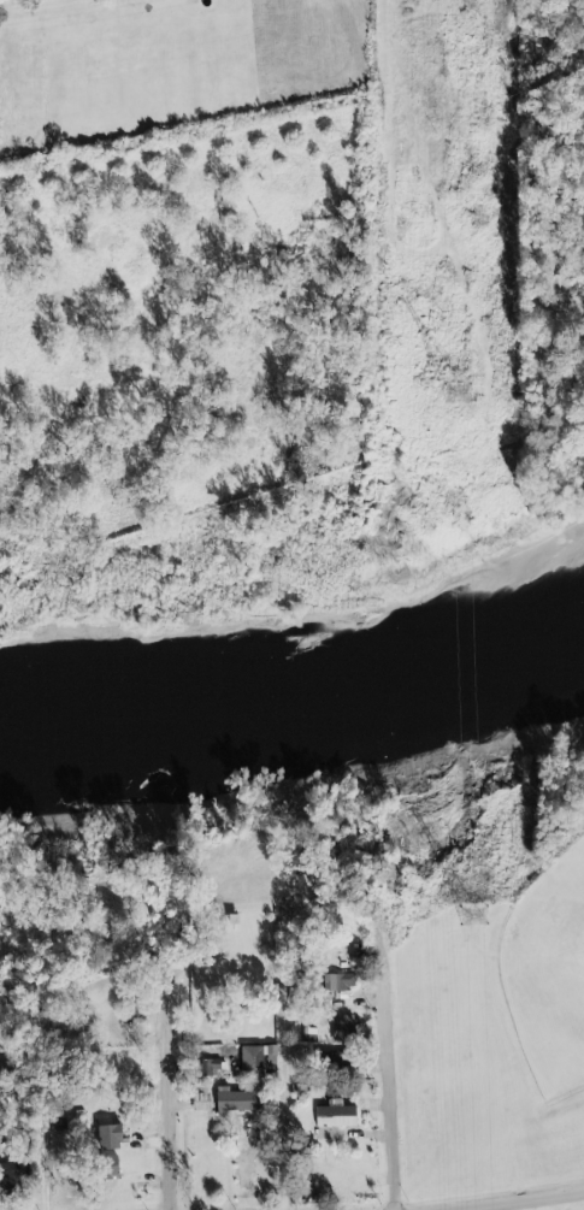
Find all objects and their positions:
power tower: (461, 394)
river: (297, 697)
power tower: (474, 916)
building: (337, 981)
building: (342, 1027)
road: (389, 1051)
building: (254, 1058)
building: (210, 1067)
road: (49, 1078)
road: (285, 1079)
road: (166, 1090)
building: (241, 1100)
building: (201, 1102)
building: (335, 1115)
building: (57, 1127)
building: (107, 1137)
building: (106, 1169)
building: (12, 1174)
road: (519, 1199)

